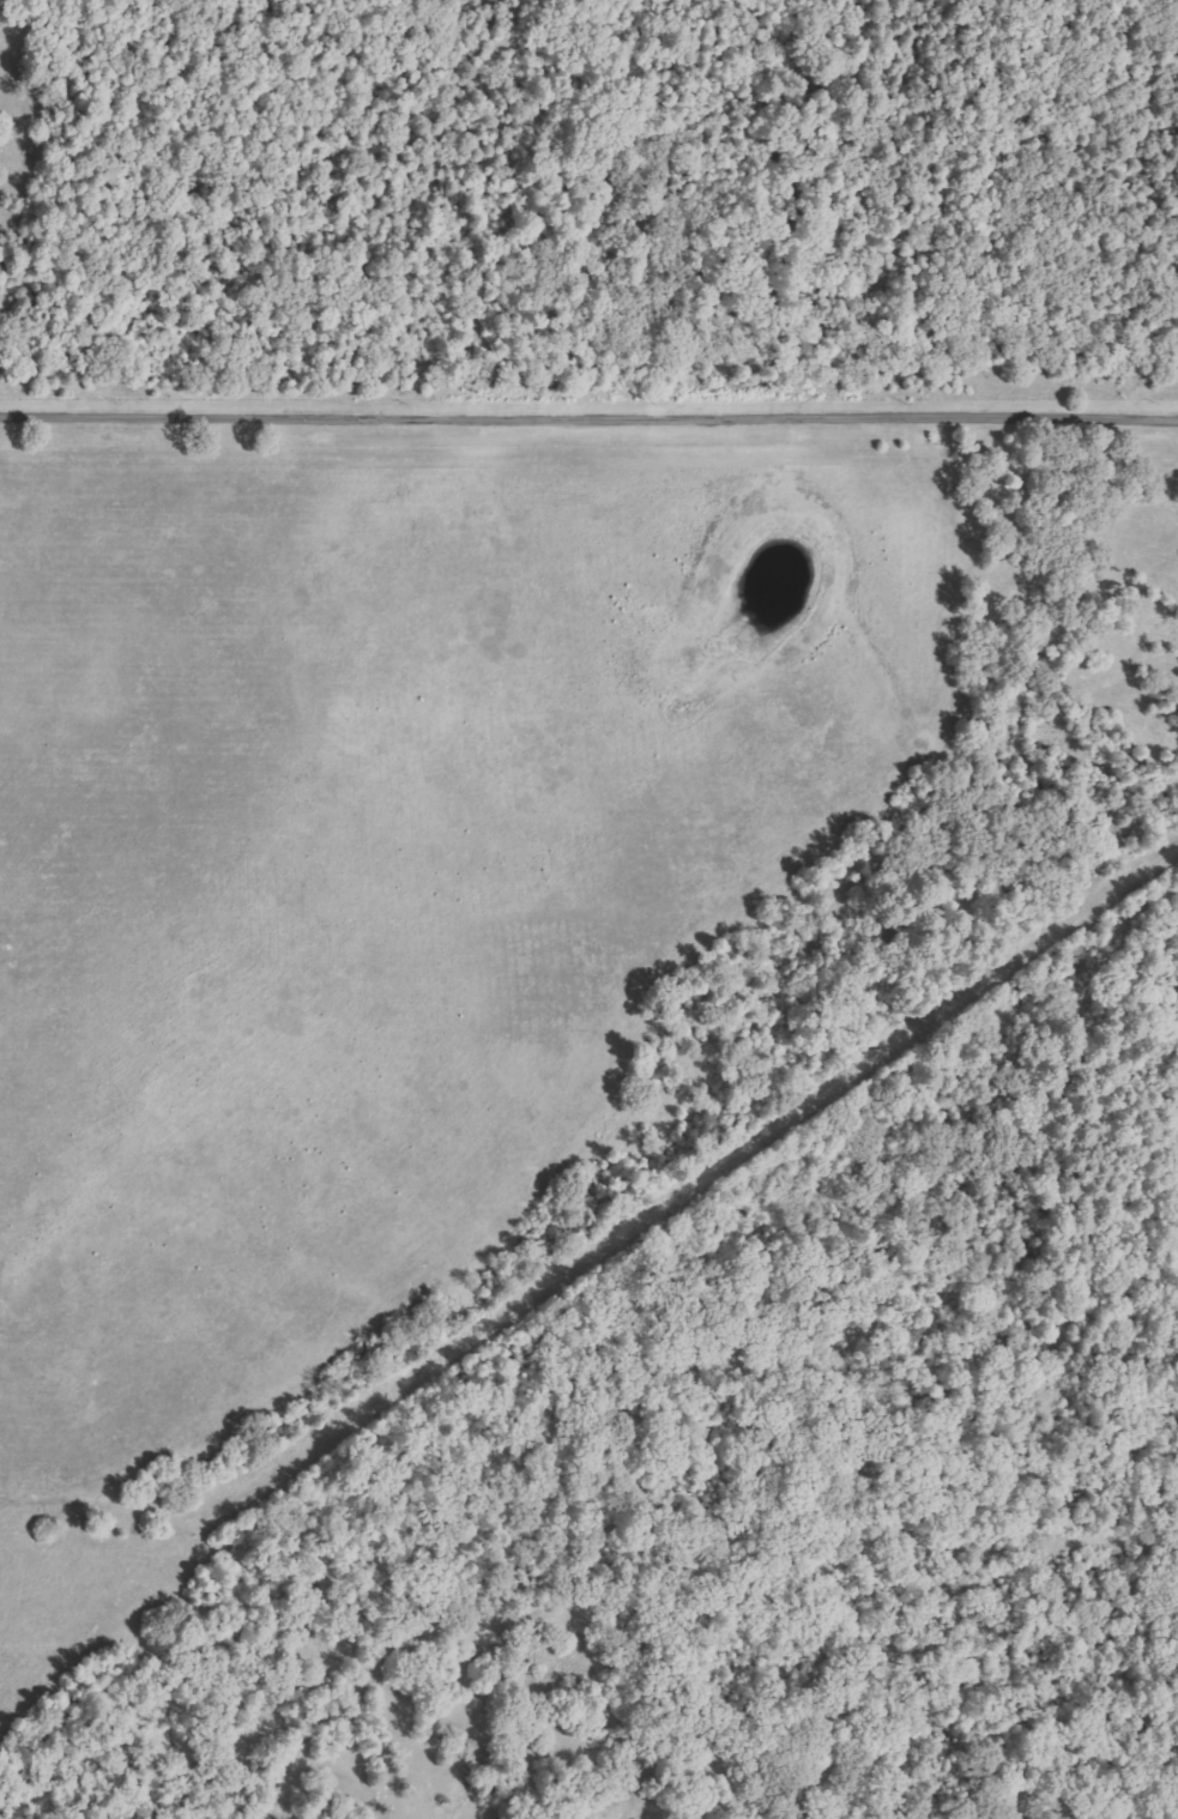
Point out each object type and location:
road: (588, 418)

